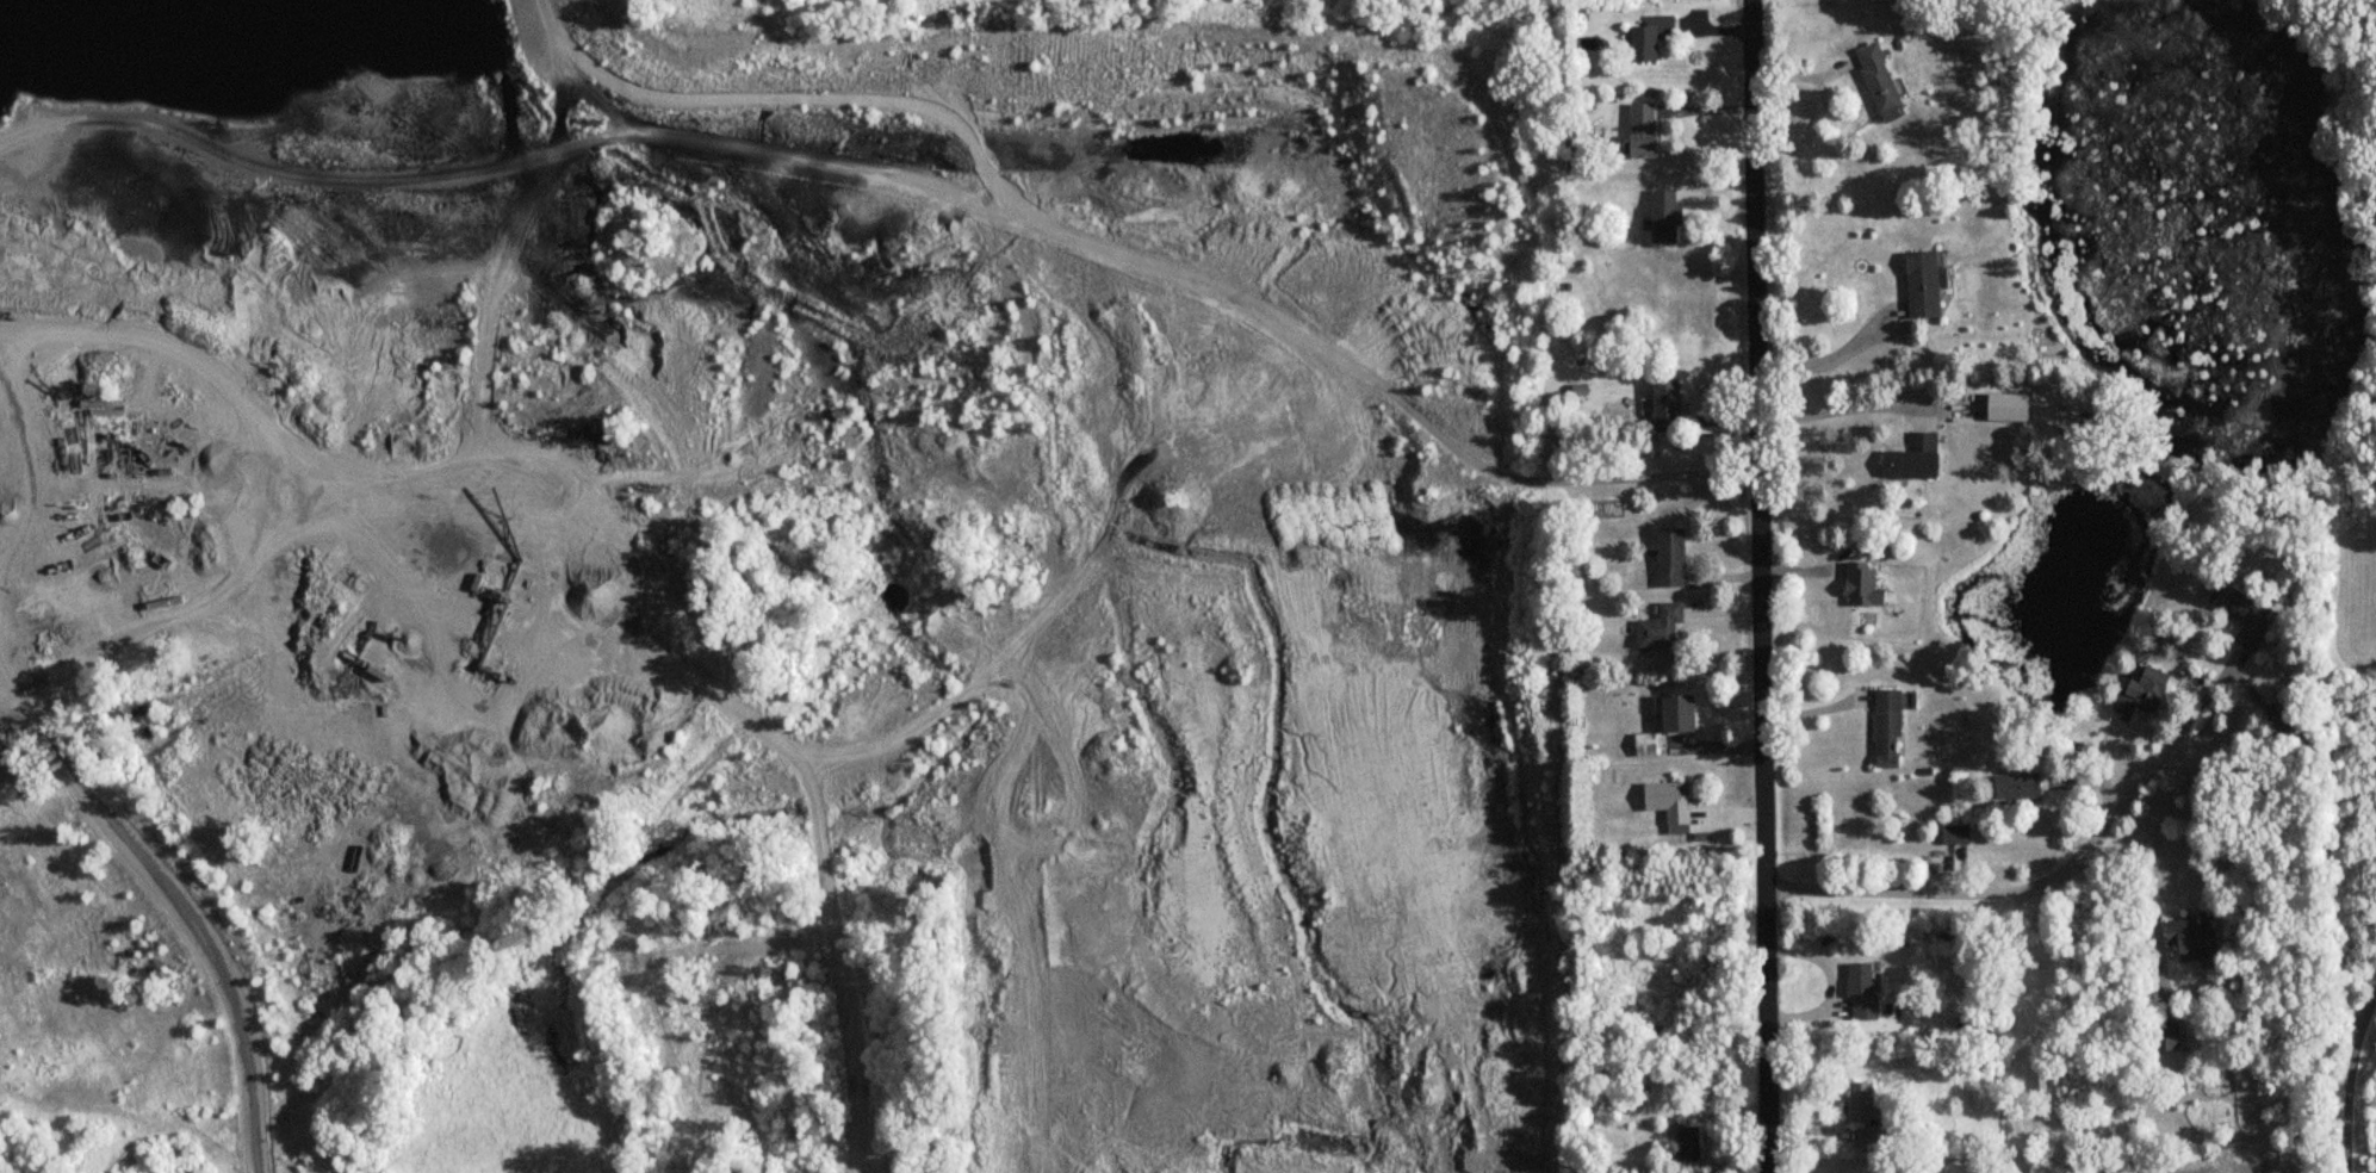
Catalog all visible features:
building: (1655, 36)
building: (1882, 80)
building: (1650, 130)
building: (1668, 216)
road: (1137, 271)
building: (1924, 284)
road: (1834, 356)
building: (1668, 405)
road: (1841, 414)
building: (1917, 459)
building: (1675, 557)
building: (1867, 585)
road: (1763, 586)
quarry: (768, 589)
building: (2248, 614)
building: (1665, 626)
building: (2142, 693)
building: (1682, 713)
building: (1888, 727)
building: (1646, 743)
building: (2018, 786)
building: (1670, 800)
building: (1956, 832)
road: (2076, 862)
road: (166, 883)
building: (2191, 936)
building: (1862, 991)
building: (2169, 1036)
road: (2347, 1078)
building: (1867, 1110)
building: (1691, 1144)

